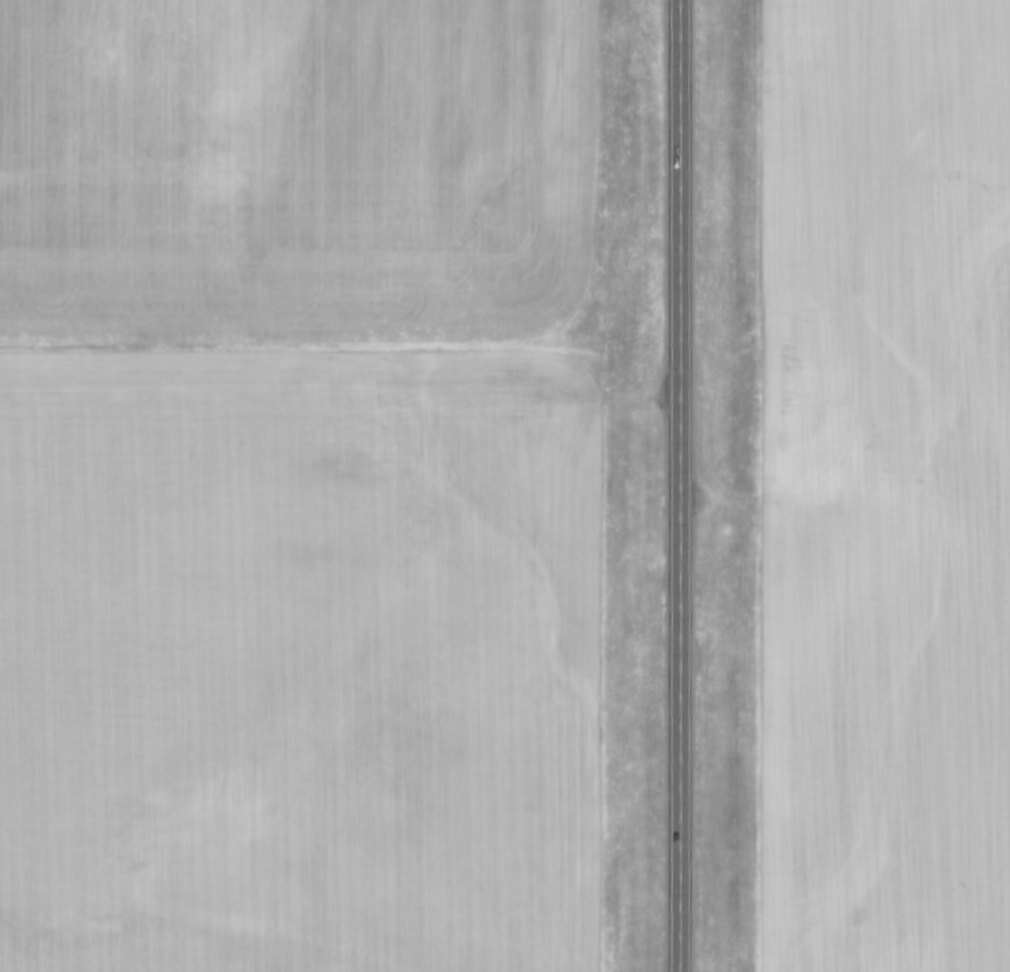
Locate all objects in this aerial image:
road: (686, 486)
road: (803, 508)

